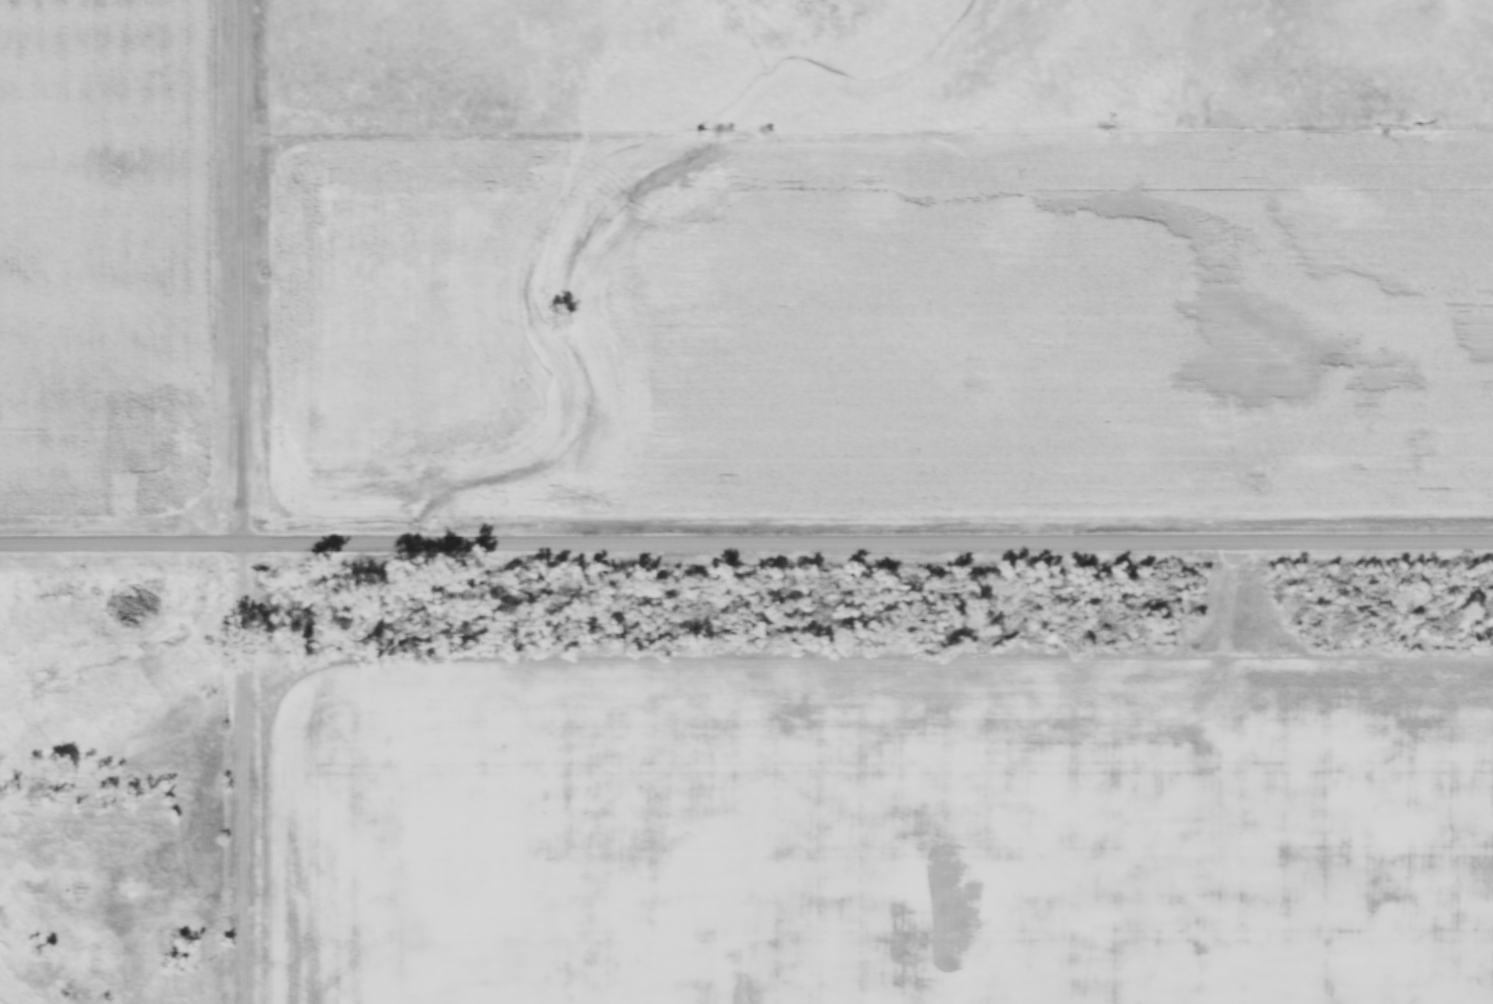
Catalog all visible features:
road: (244, 502)
road: (746, 533)

